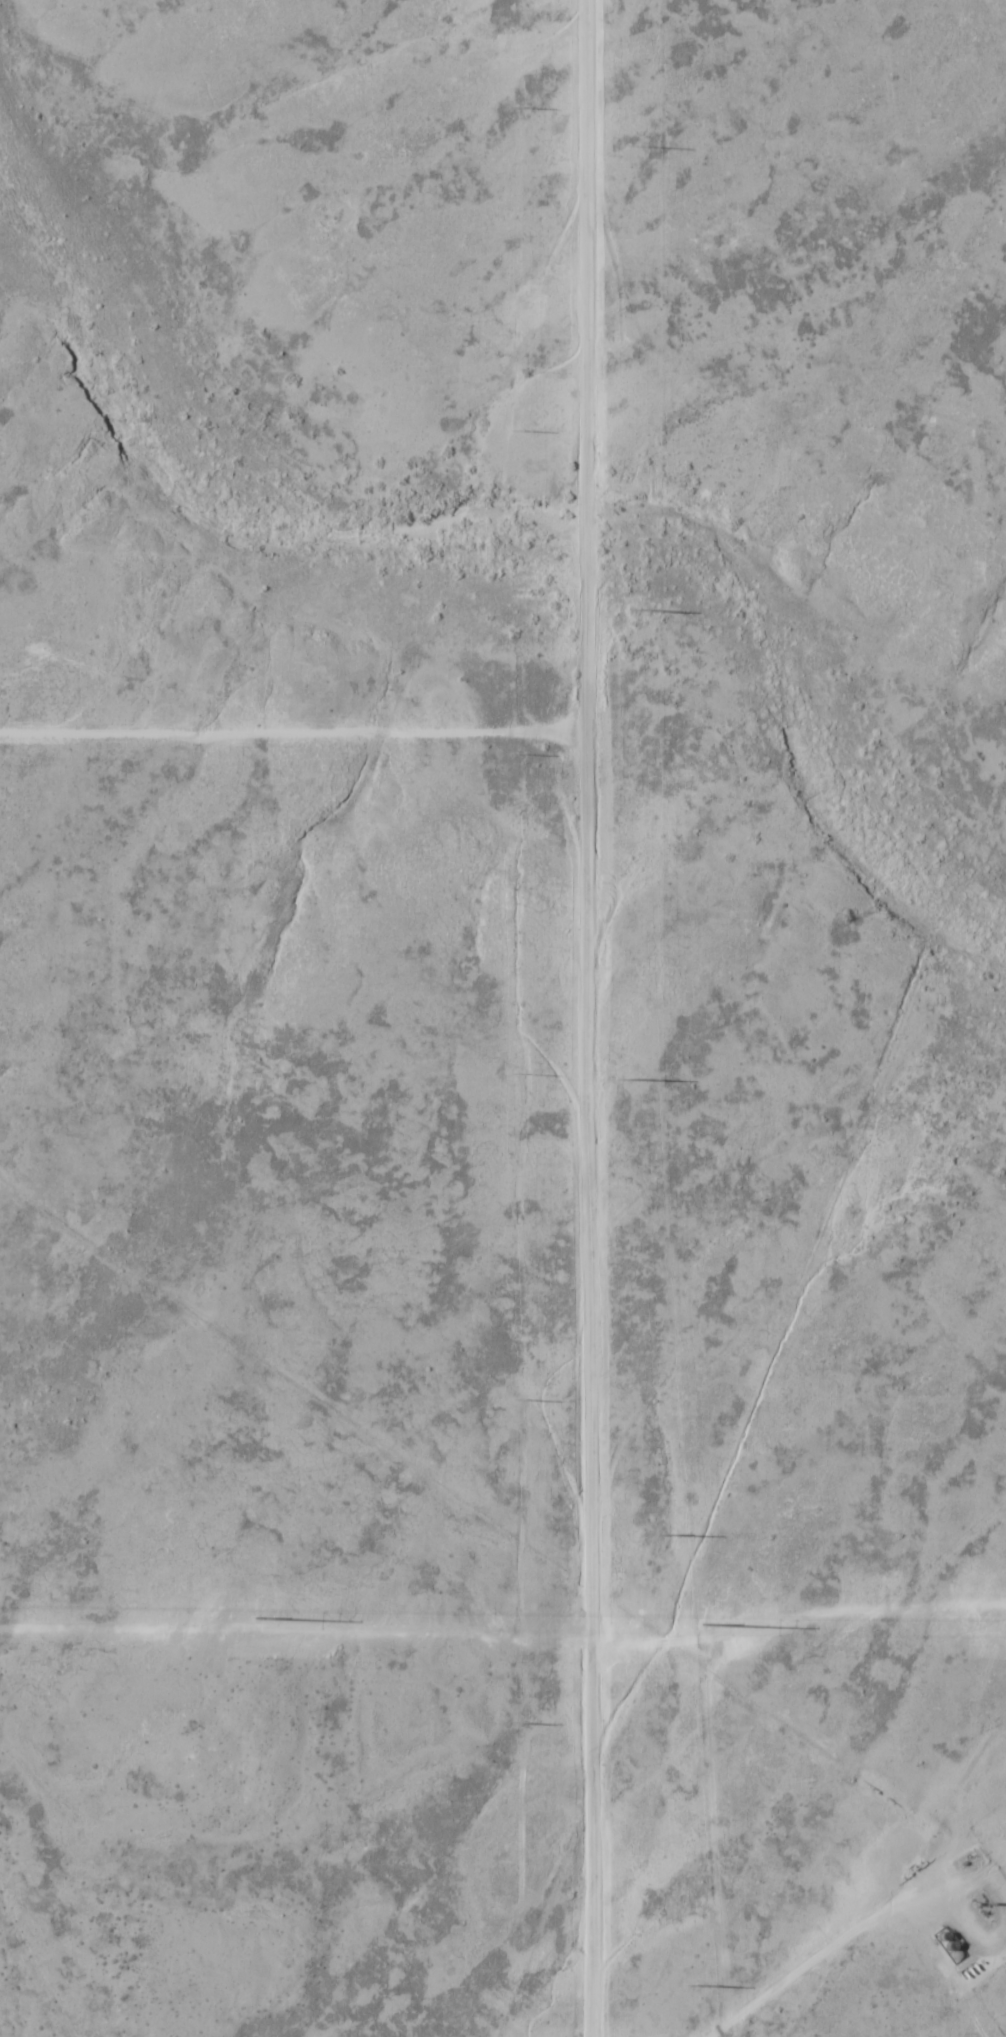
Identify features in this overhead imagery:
power tower: (513, 107)
power tower: (633, 146)
power tower: (515, 430)
power tower: (636, 609)
road: (292, 727)
power tower: (516, 754)
road: (584, 1018)
power tower: (515, 1073)
power tower: (631, 1081)
power tower: (518, 1398)
power tower: (663, 1536)
power tower: (519, 1720)
road: (819, 1965)
power tower: (689, 1985)

